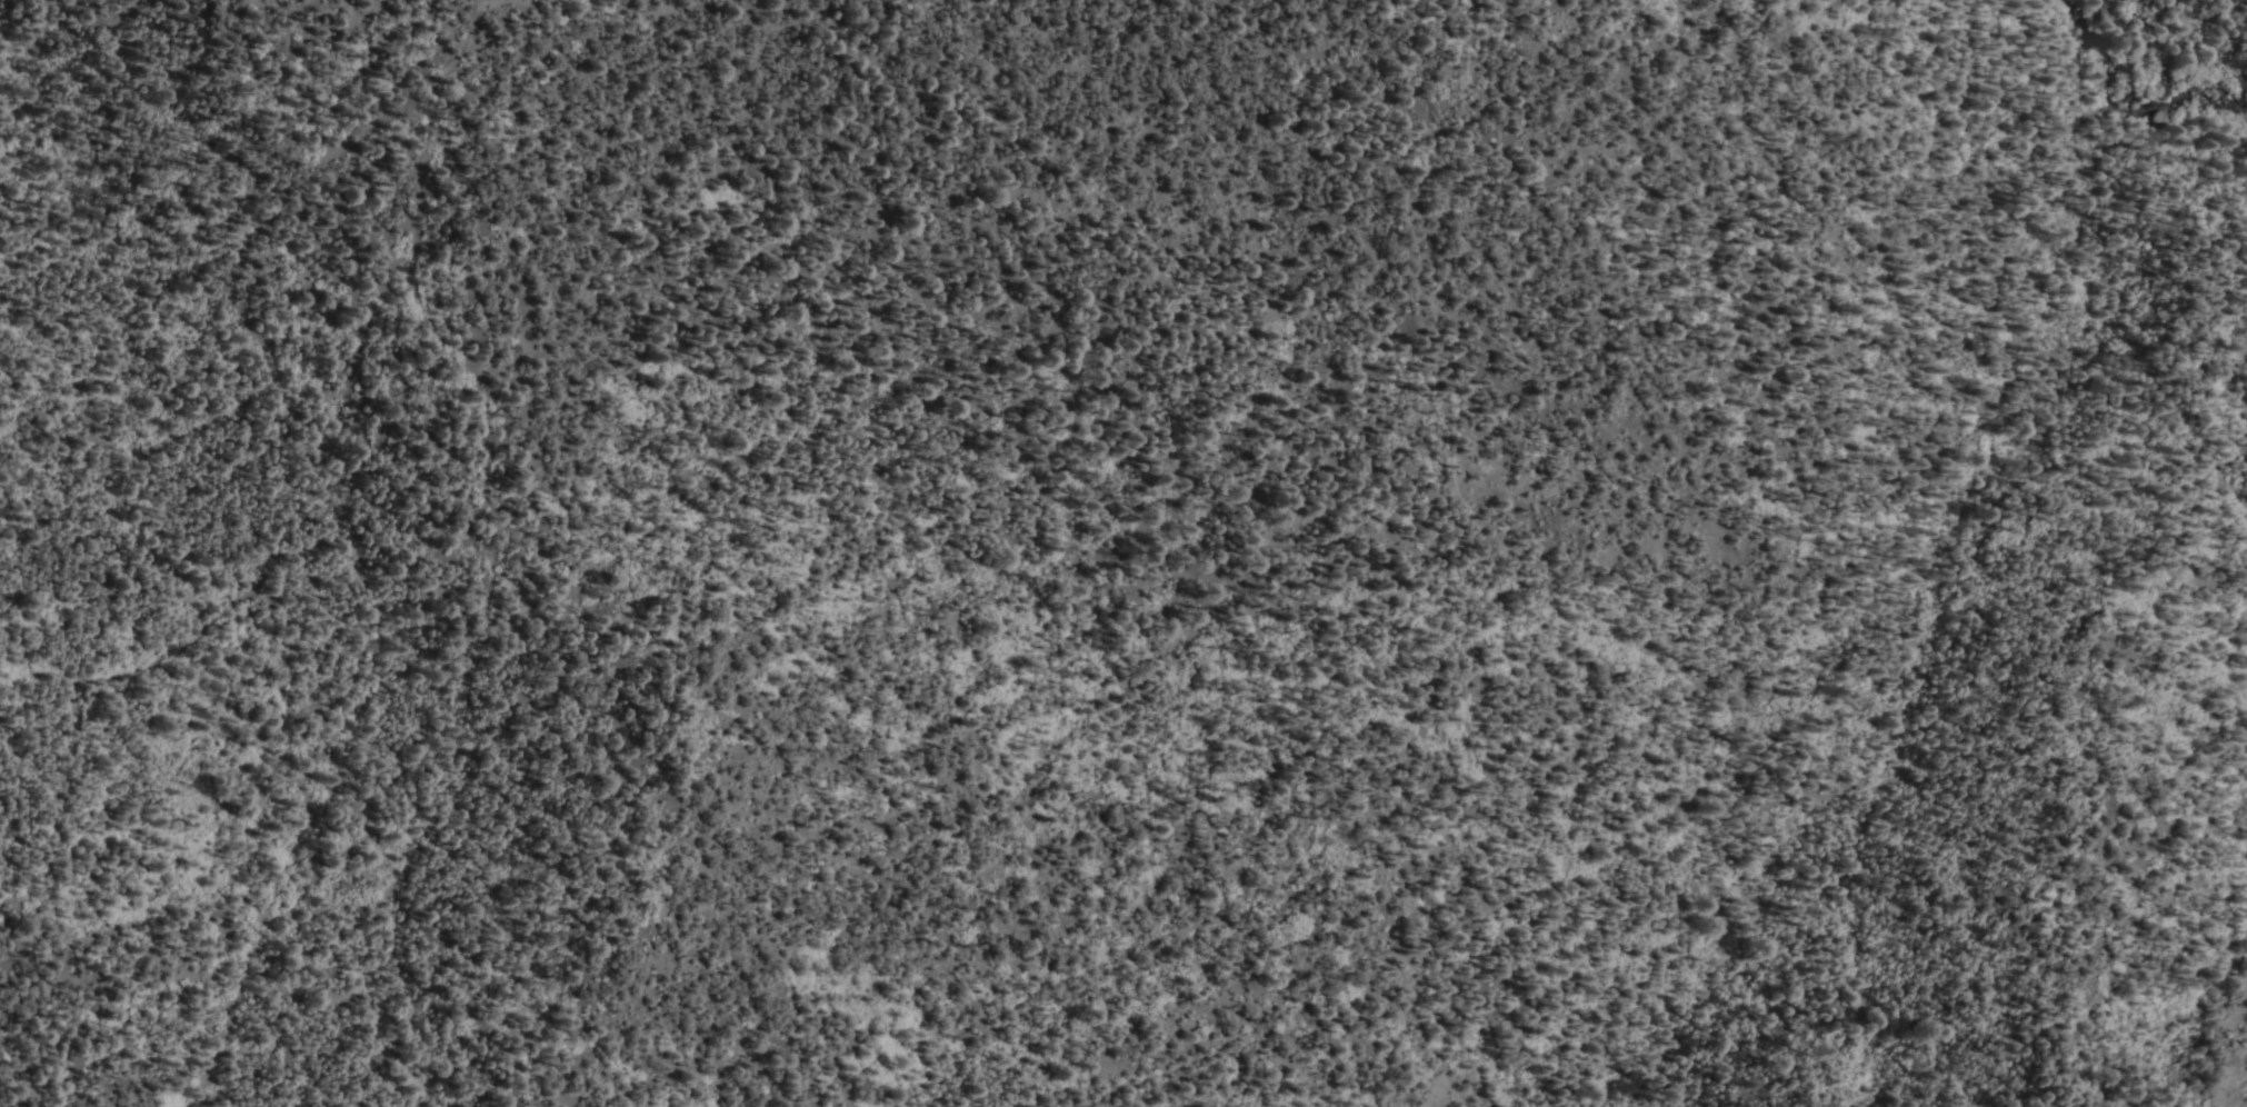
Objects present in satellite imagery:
road: (2164, 60)

